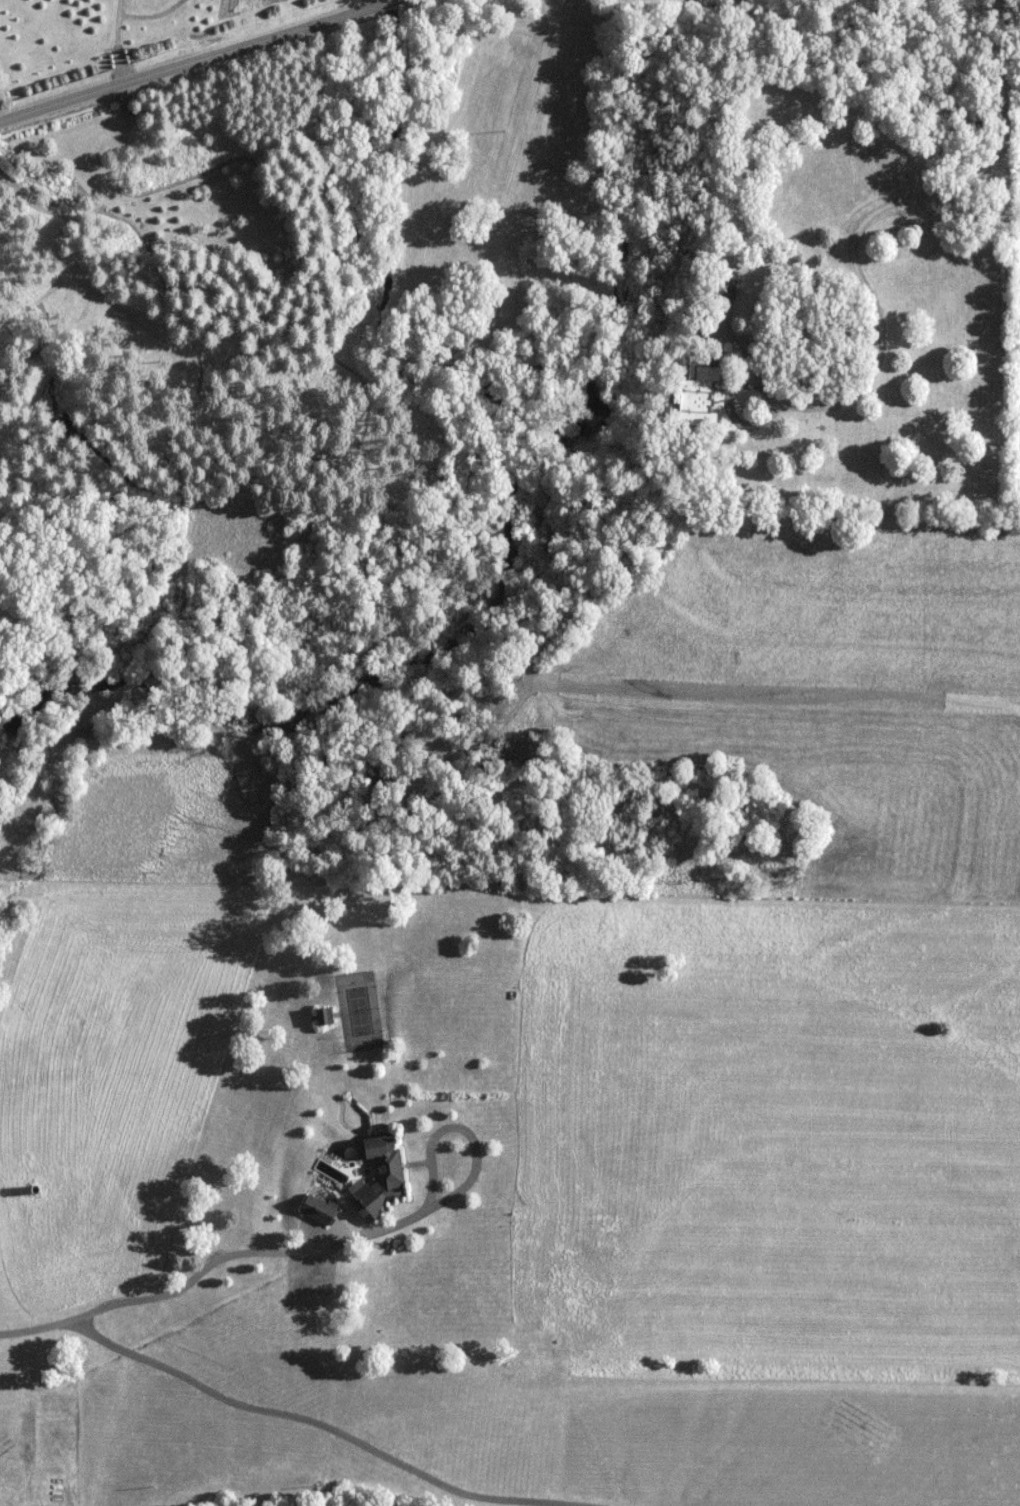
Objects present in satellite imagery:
road: (1007, 44)
road: (194, 56)
road: (867, 283)
building: (74, 303)
building: (698, 394)
building: (325, 1017)
building: (380, 1177)
road: (192, 1278)
road: (287, 1414)

